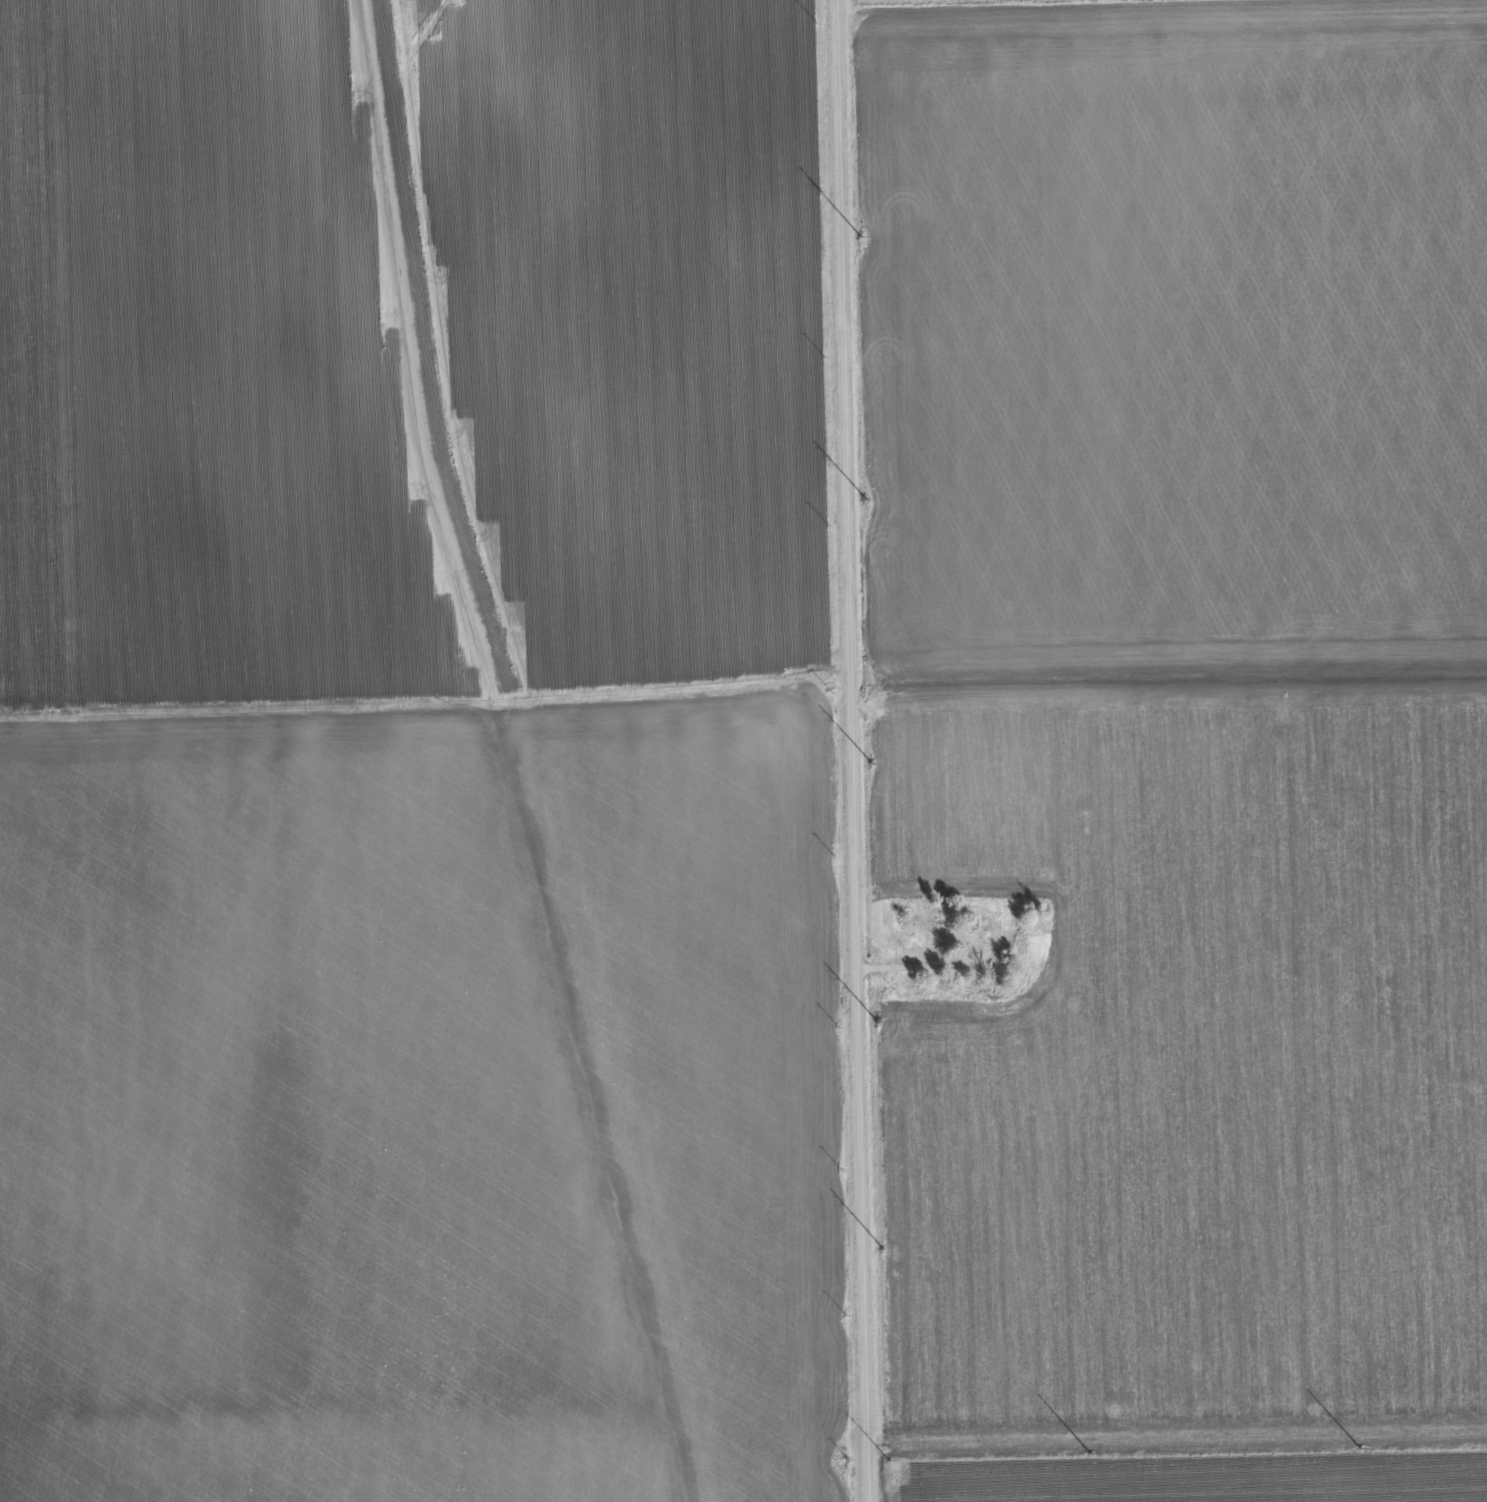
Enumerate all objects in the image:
road: (849, 750)

